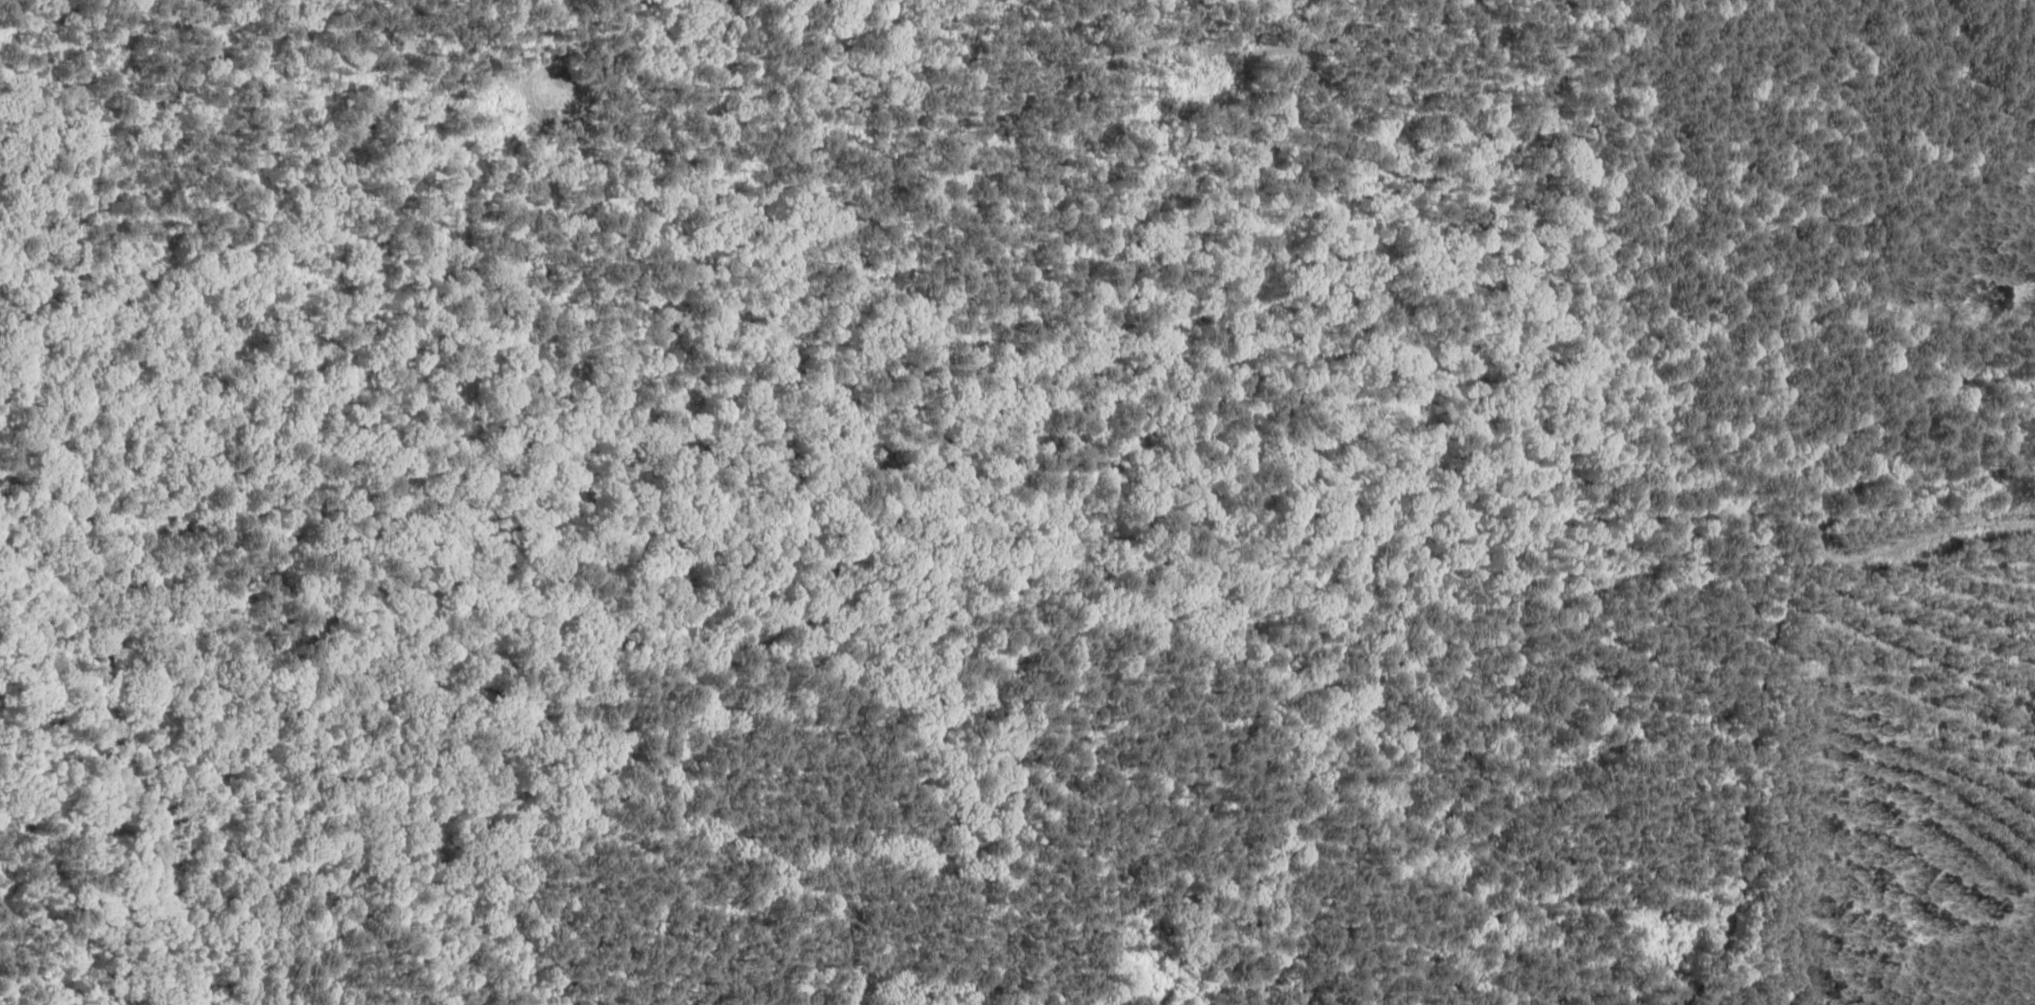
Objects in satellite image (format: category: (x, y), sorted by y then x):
road: (1812, 632)

